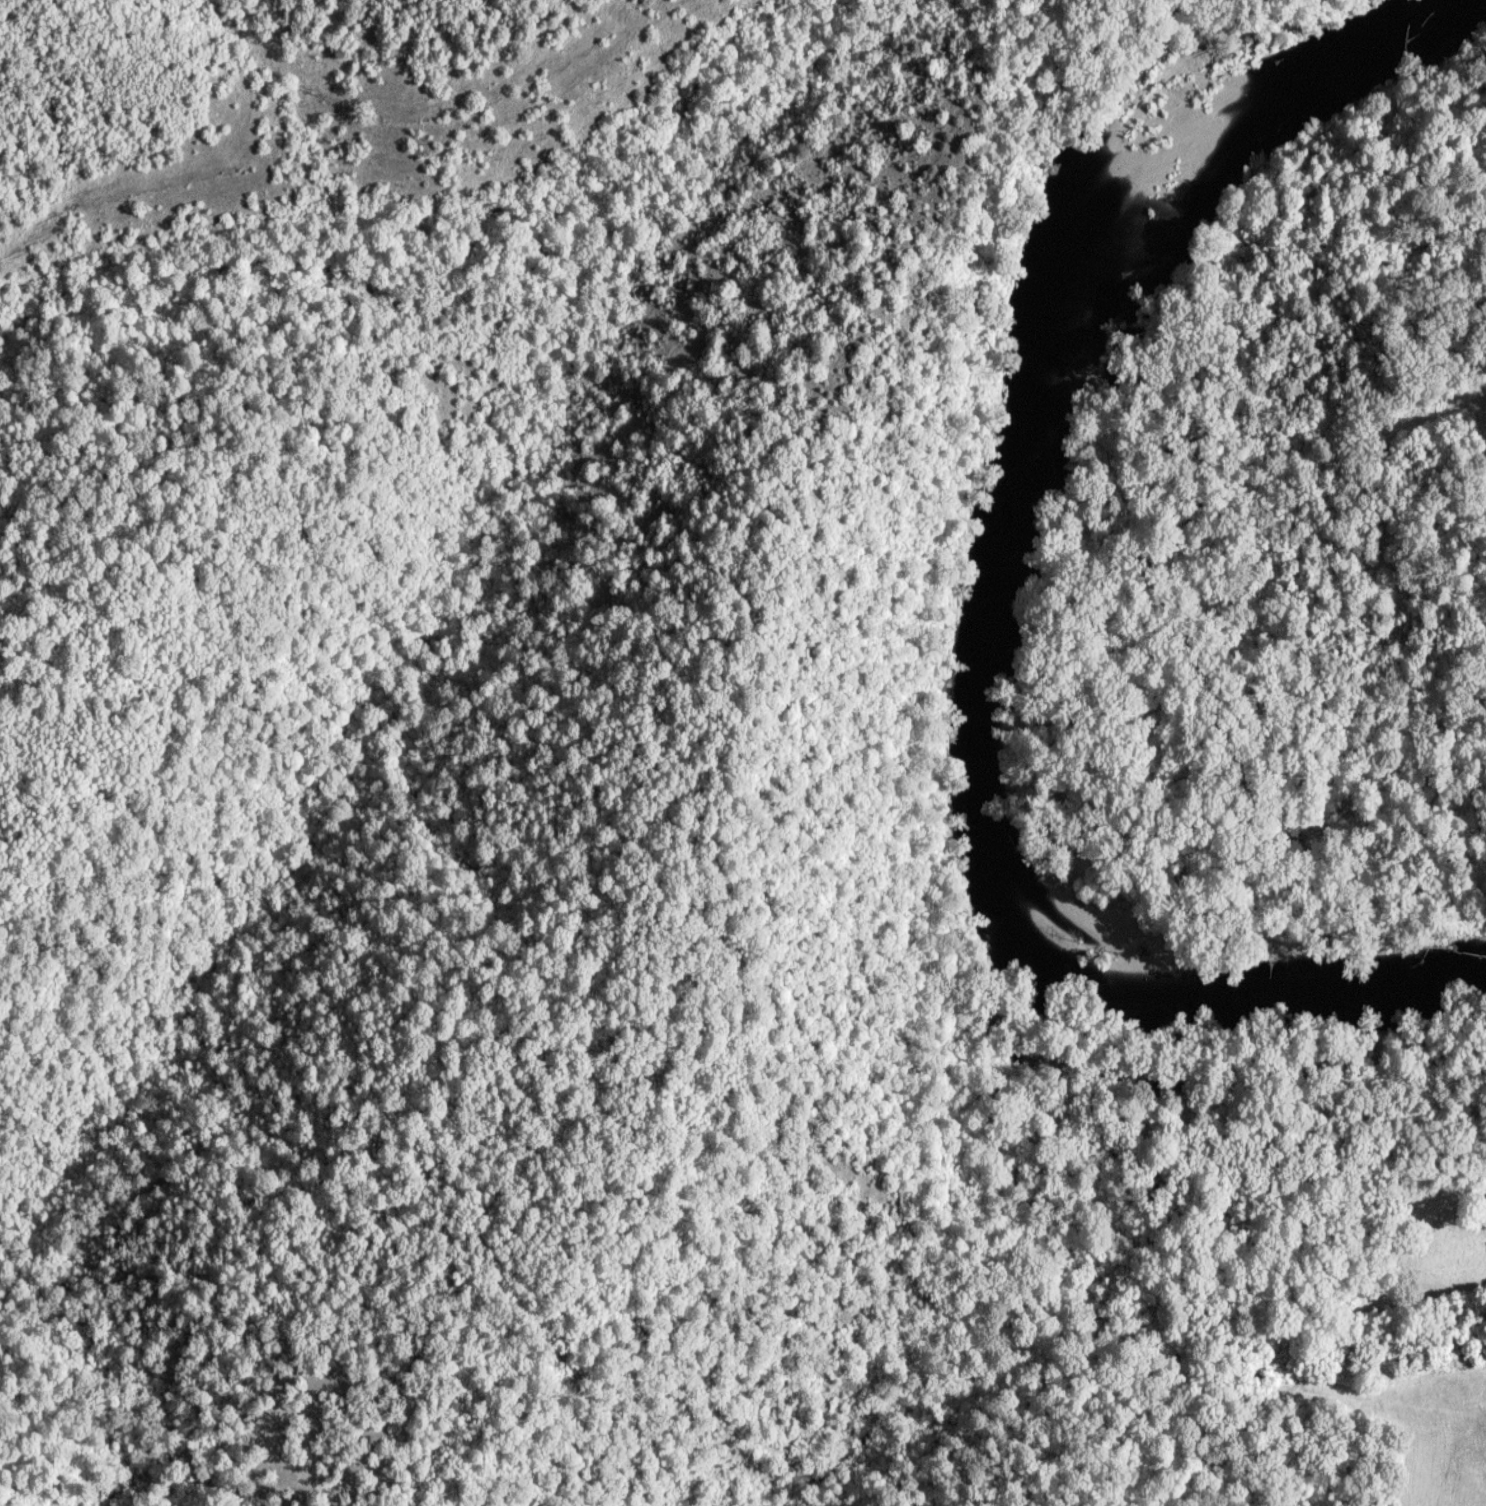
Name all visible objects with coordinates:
river: (973, 626)

